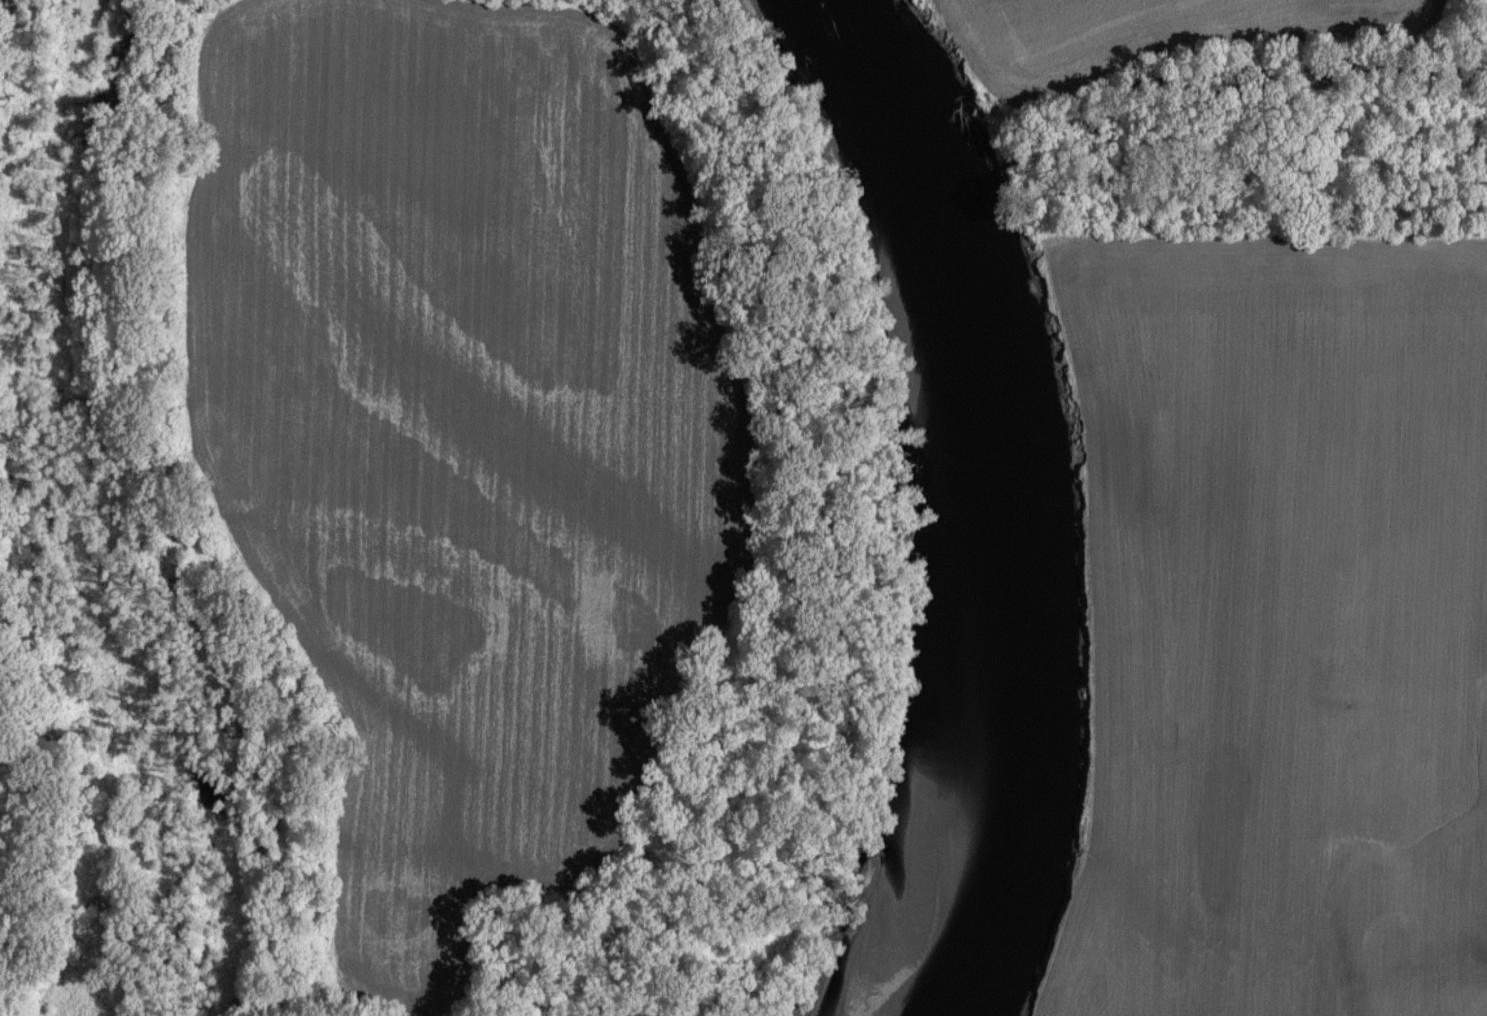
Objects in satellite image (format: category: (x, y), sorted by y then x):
river: (985, 500)

